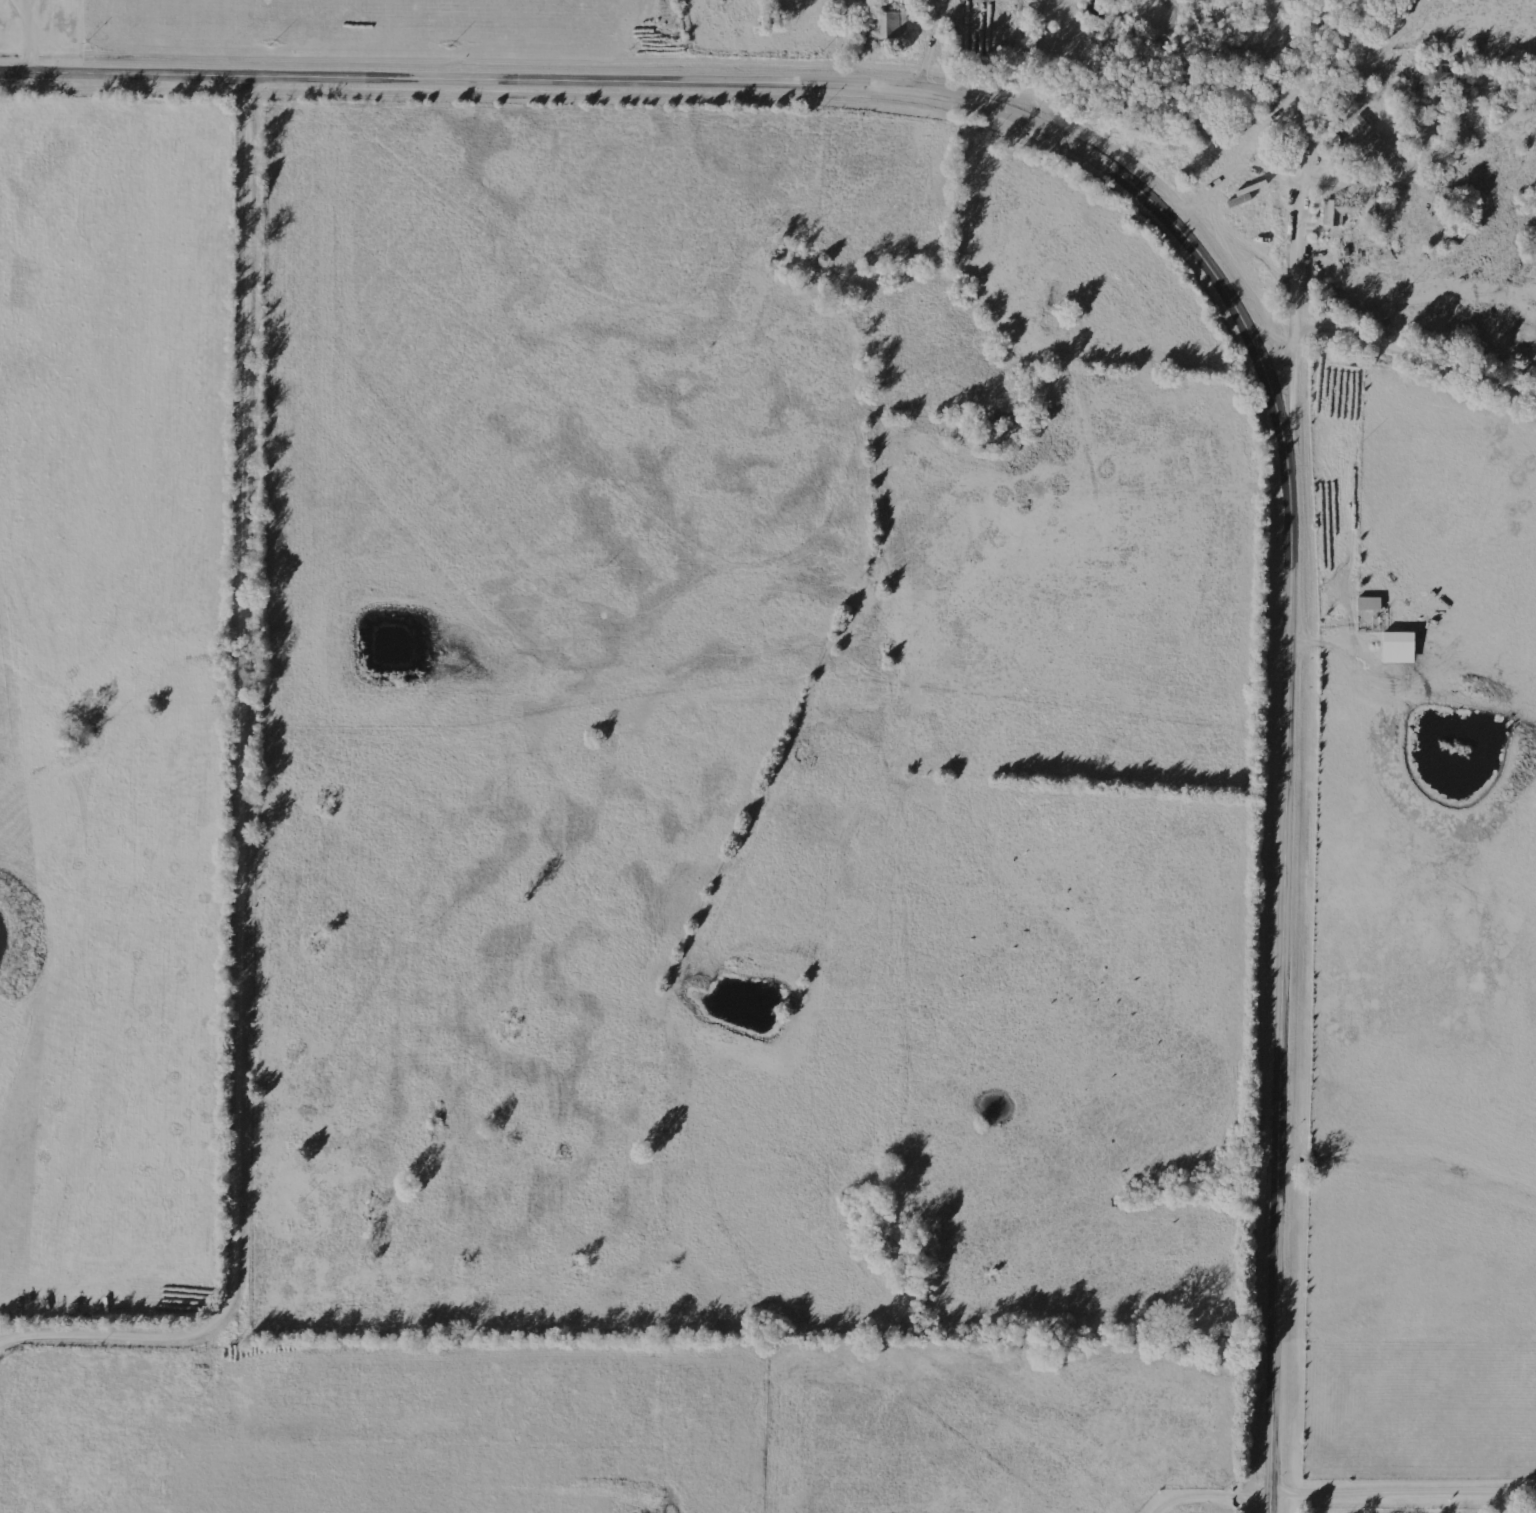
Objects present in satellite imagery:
building: (890, 25)
road: (1324, 44)
building: (1372, 139)
road: (1309, 149)
building: (1338, 213)
road: (1214, 258)
road: (1396, 350)
building: (1399, 647)
road: (248, 815)
road: (1404, 1491)

